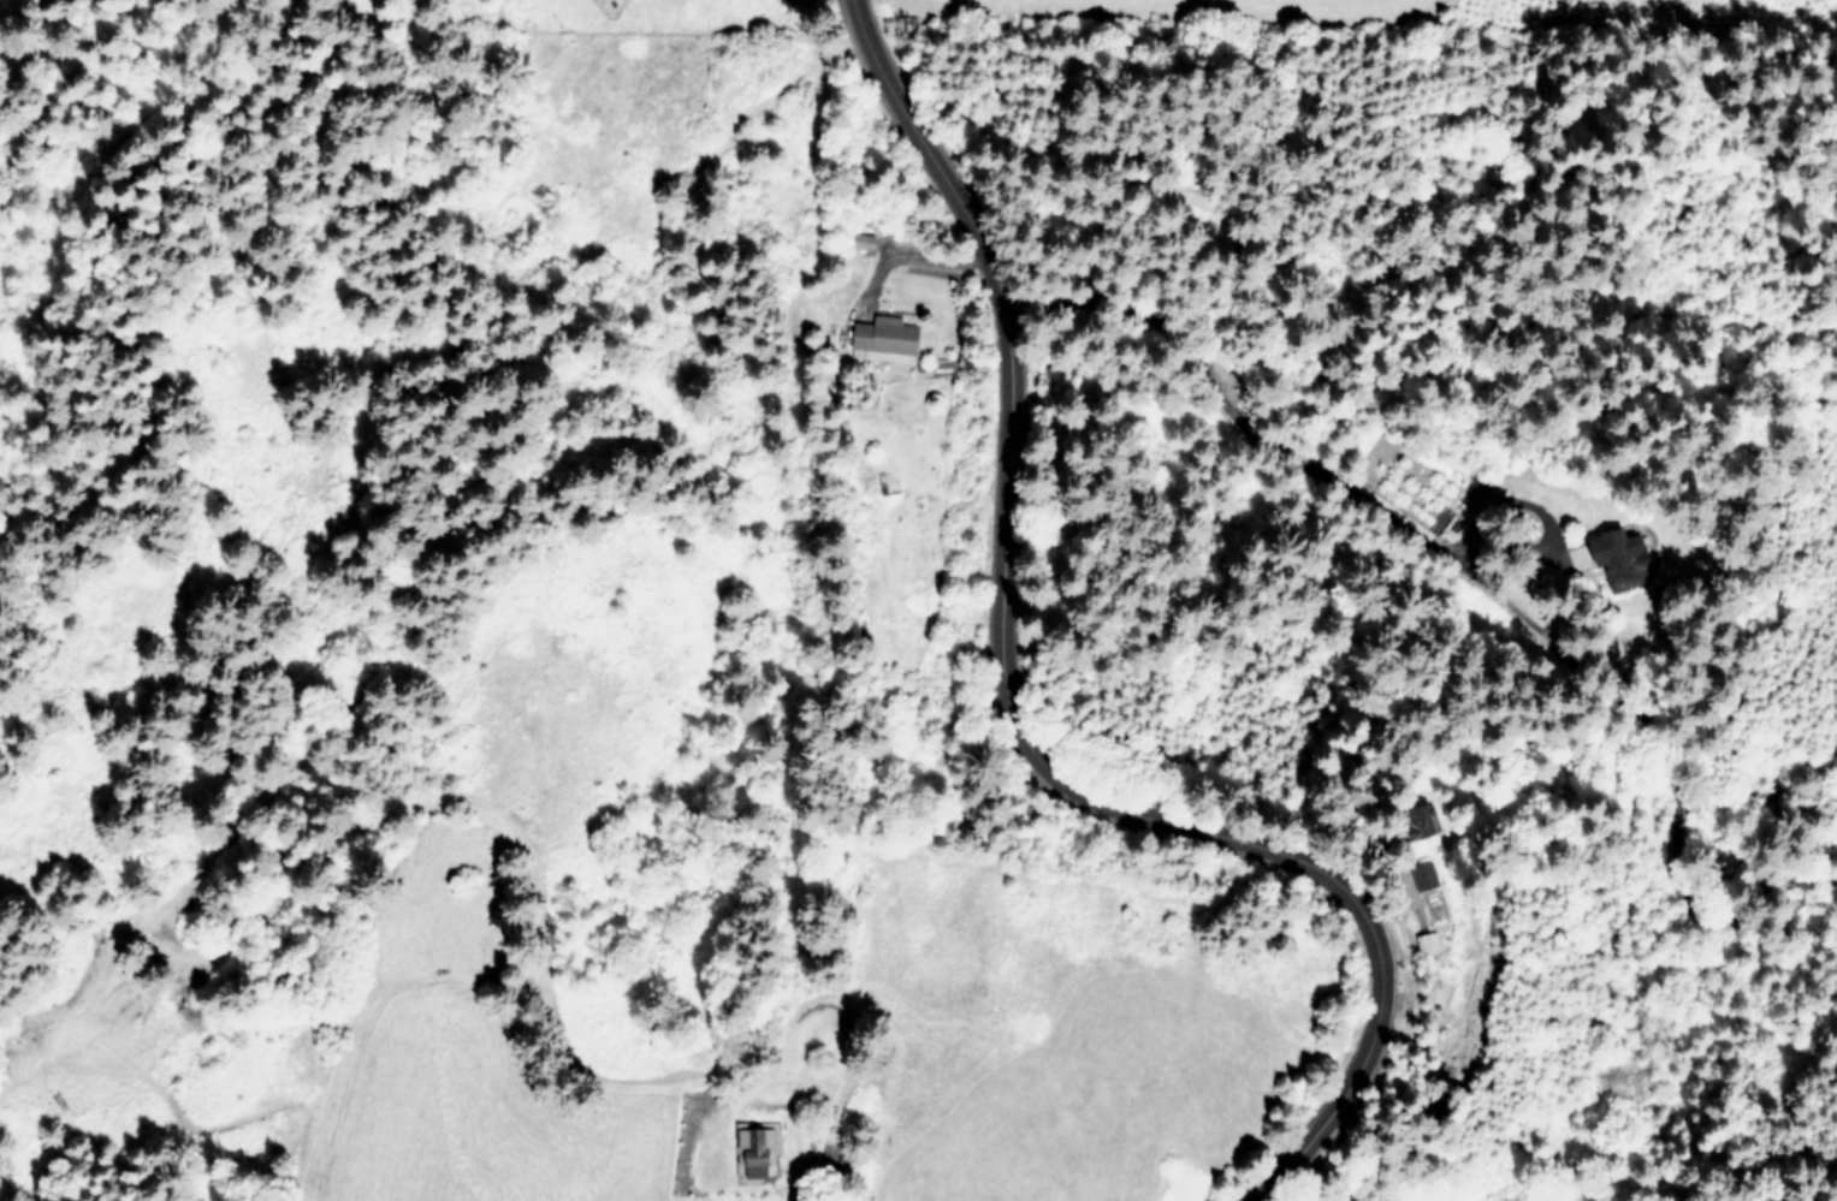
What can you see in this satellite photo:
building: (888, 333)
building: (1625, 555)
road: (1006, 707)
building: (757, 1149)

